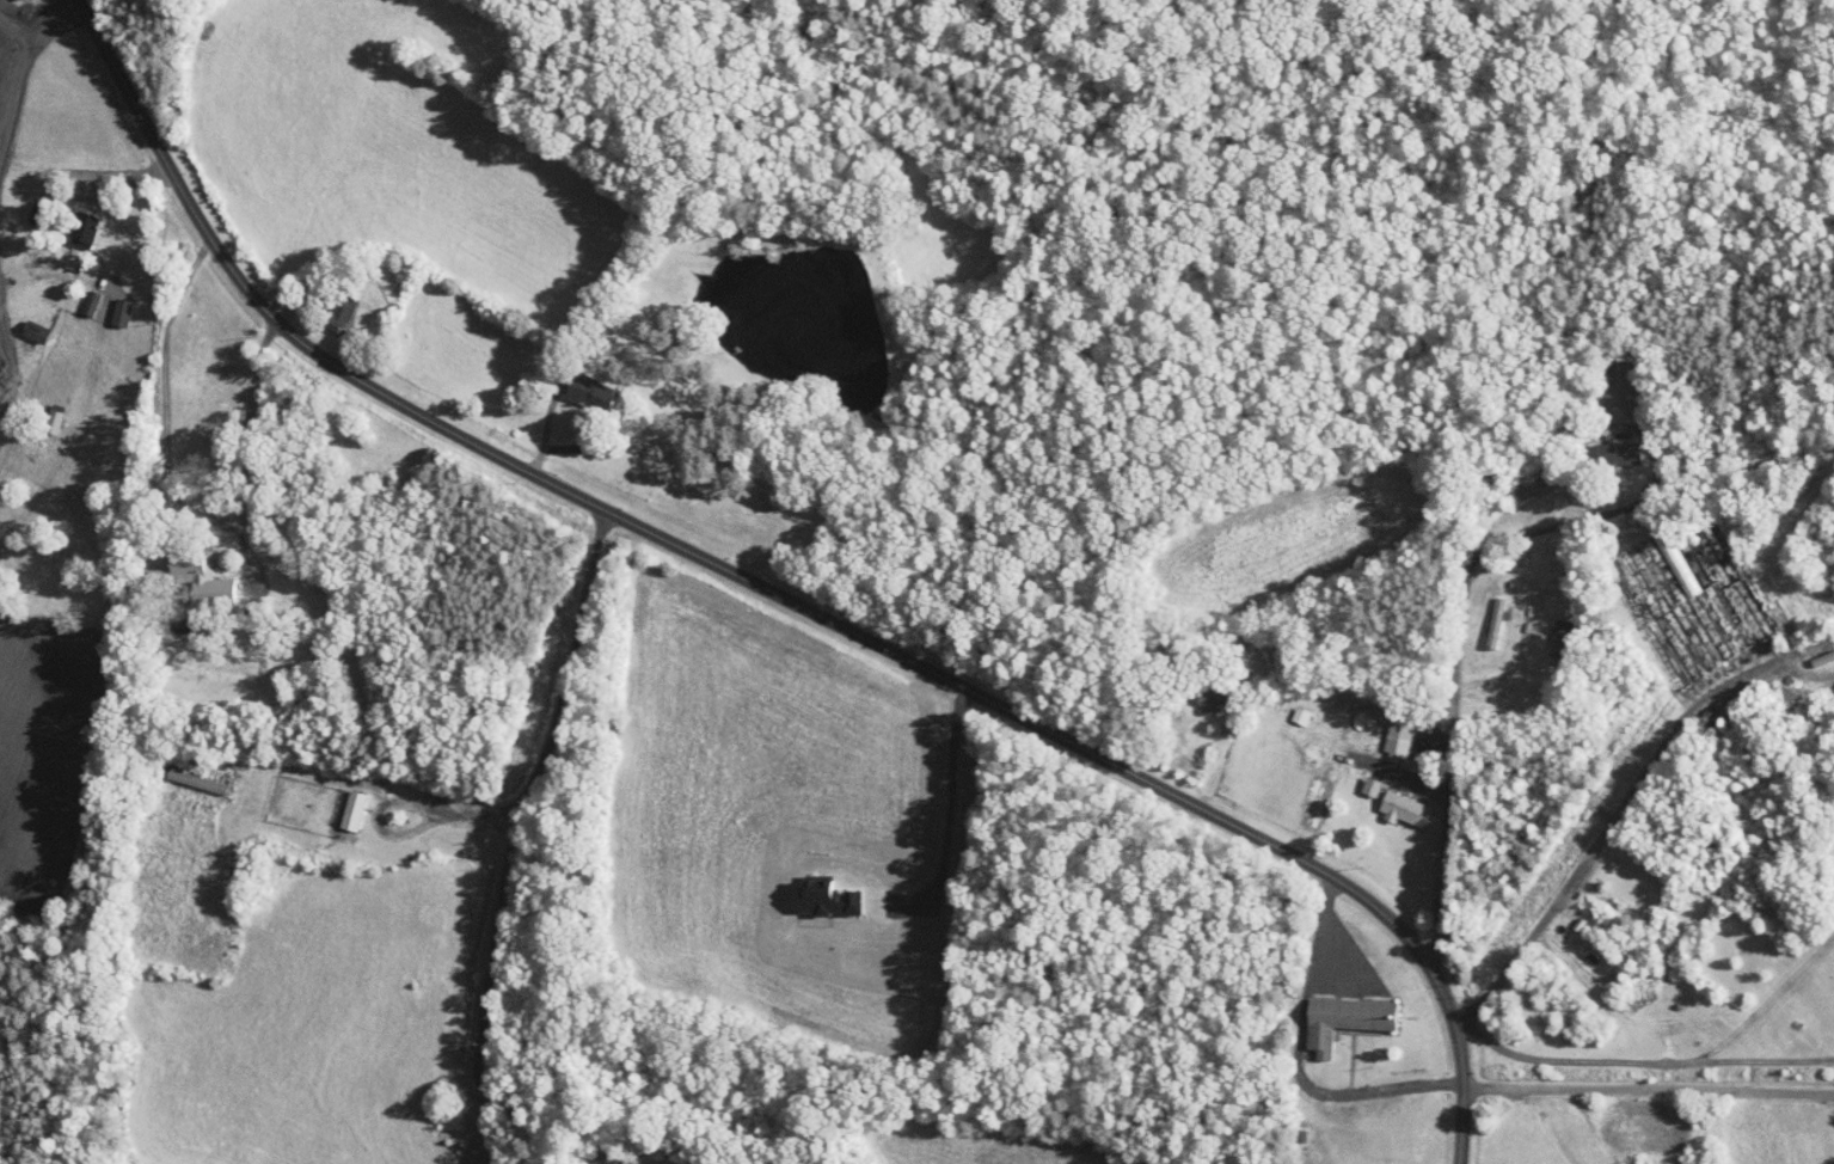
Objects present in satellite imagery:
road: (125, 177)
building: (68, 222)
building: (75, 295)
building: (327, 301)
building: (105, 304)
road: (335, 319)
building: (18, 323)
building: (573, 384)
building: (39, 411)
road: (247, 424)
road: (547, 424)
road: (165, 430)
building: (1603, 446)
road: (1658, 468)
building: (186, 571)
road: (781, 596)
building: (1482, 614)
road: (1528, 620)
road: (1454, 670)
building: (1194, 692)
building: (1284, 707)
building: (1381, 734)
road: (1212, 758)
road: (405, 800)
building: (1387, 802)
building: (337, 803)
road: (945, 810)
road: (1600, 832)
road: (1368, 856)
road: (510, 865)
building: (811, 890)
building: (1329, 1012)
road: (1298, 1058)
road: (1639, 1060)
road: (1648, 1089)

